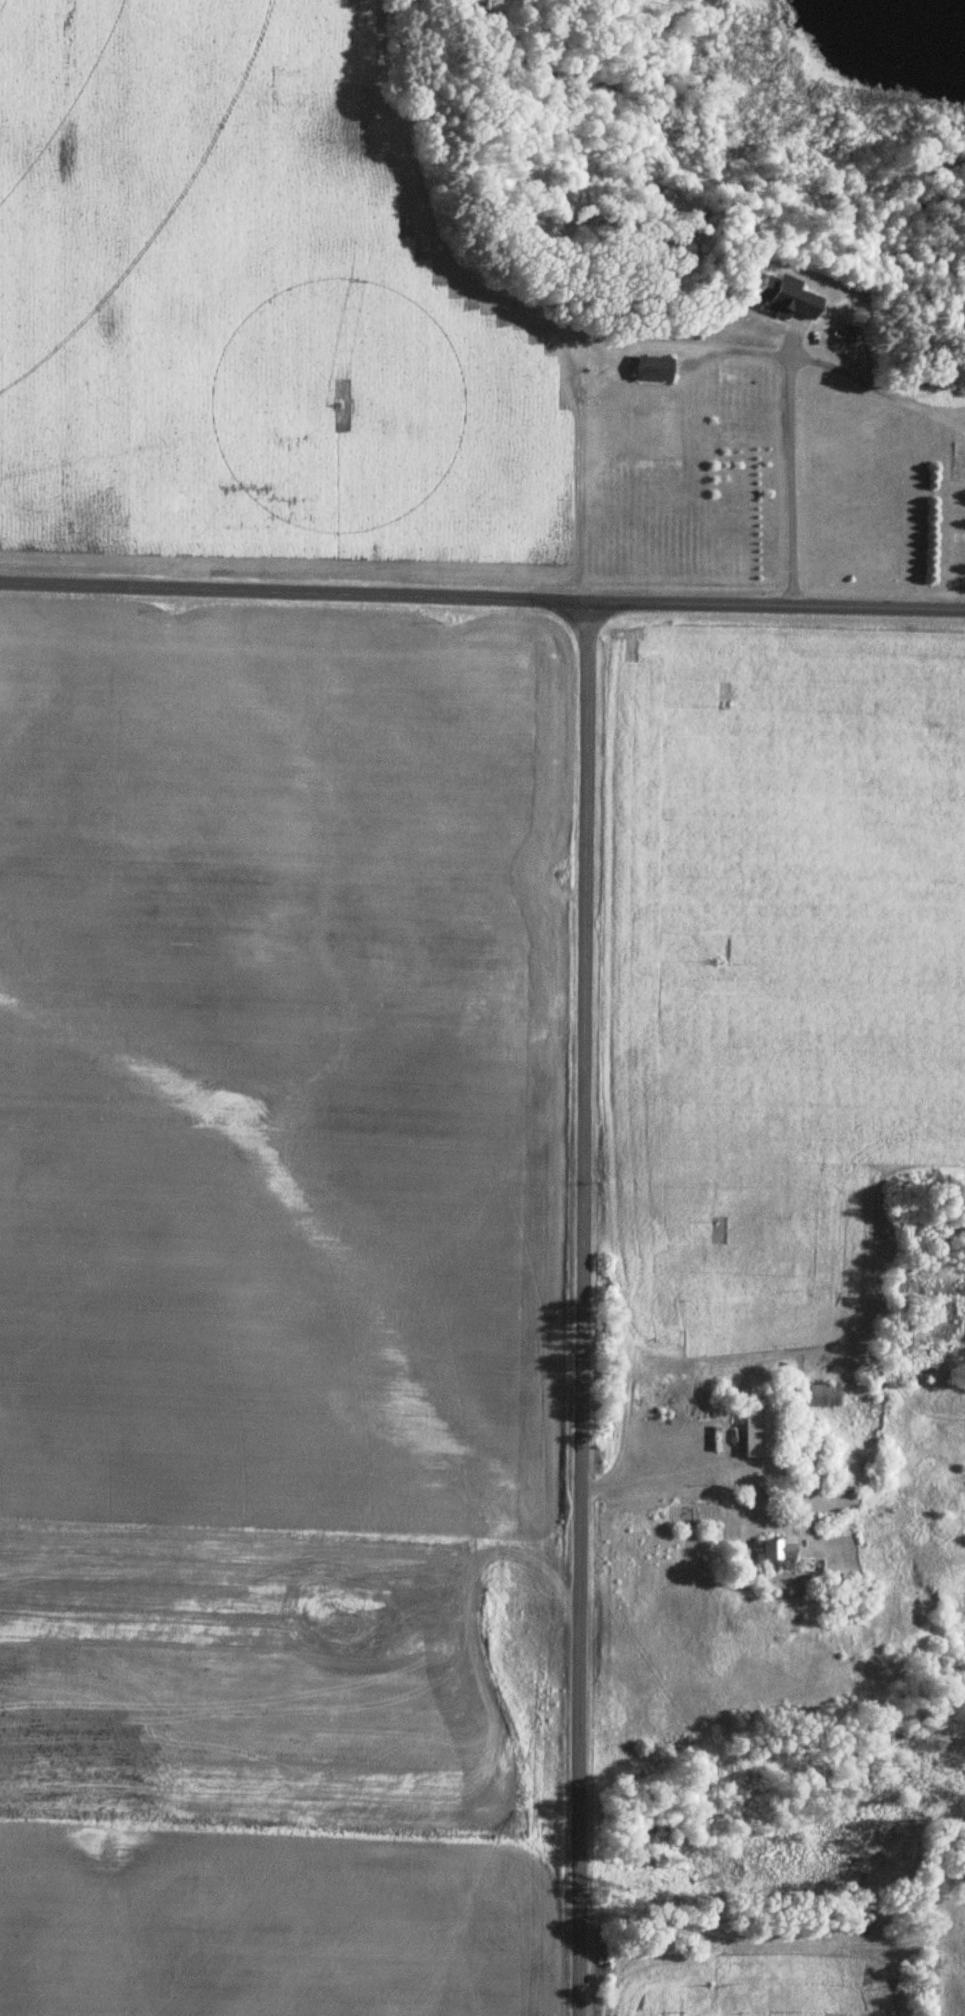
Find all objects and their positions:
building: (772, 299)
building: (834, 335)
building: (645, 370)
road: (791, 483)
road: (482, 597)
road: (964, 600)
road: (581, 1308)
building: (817, 1396)
building: (753, 1433)
building: (814, 1444)
road: (663, 1479)
building: (772, 1550)

